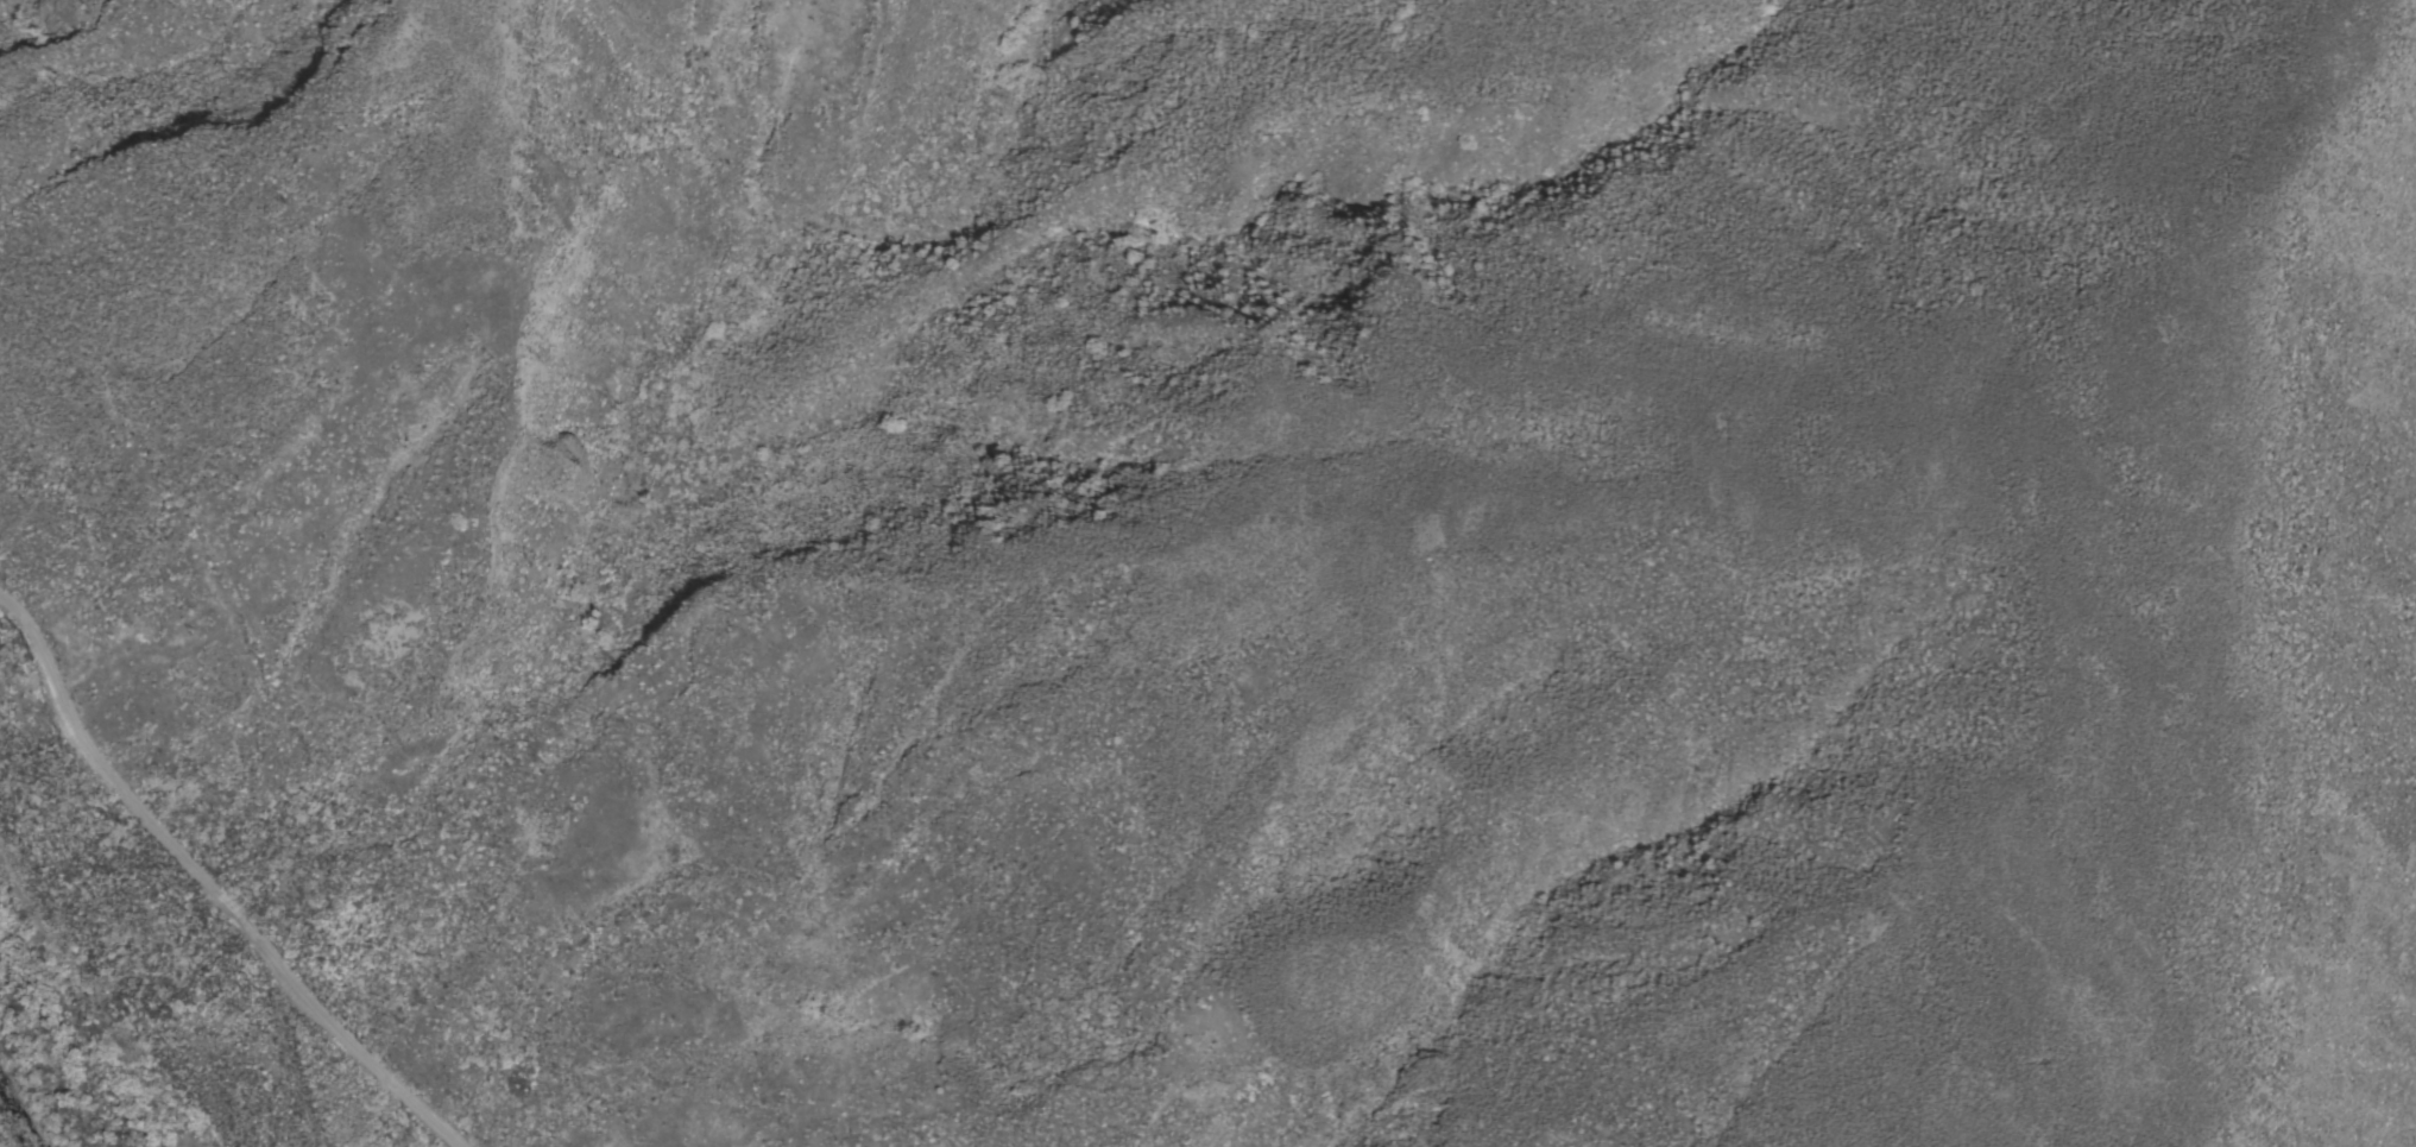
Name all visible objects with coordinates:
road: (204, 889)

